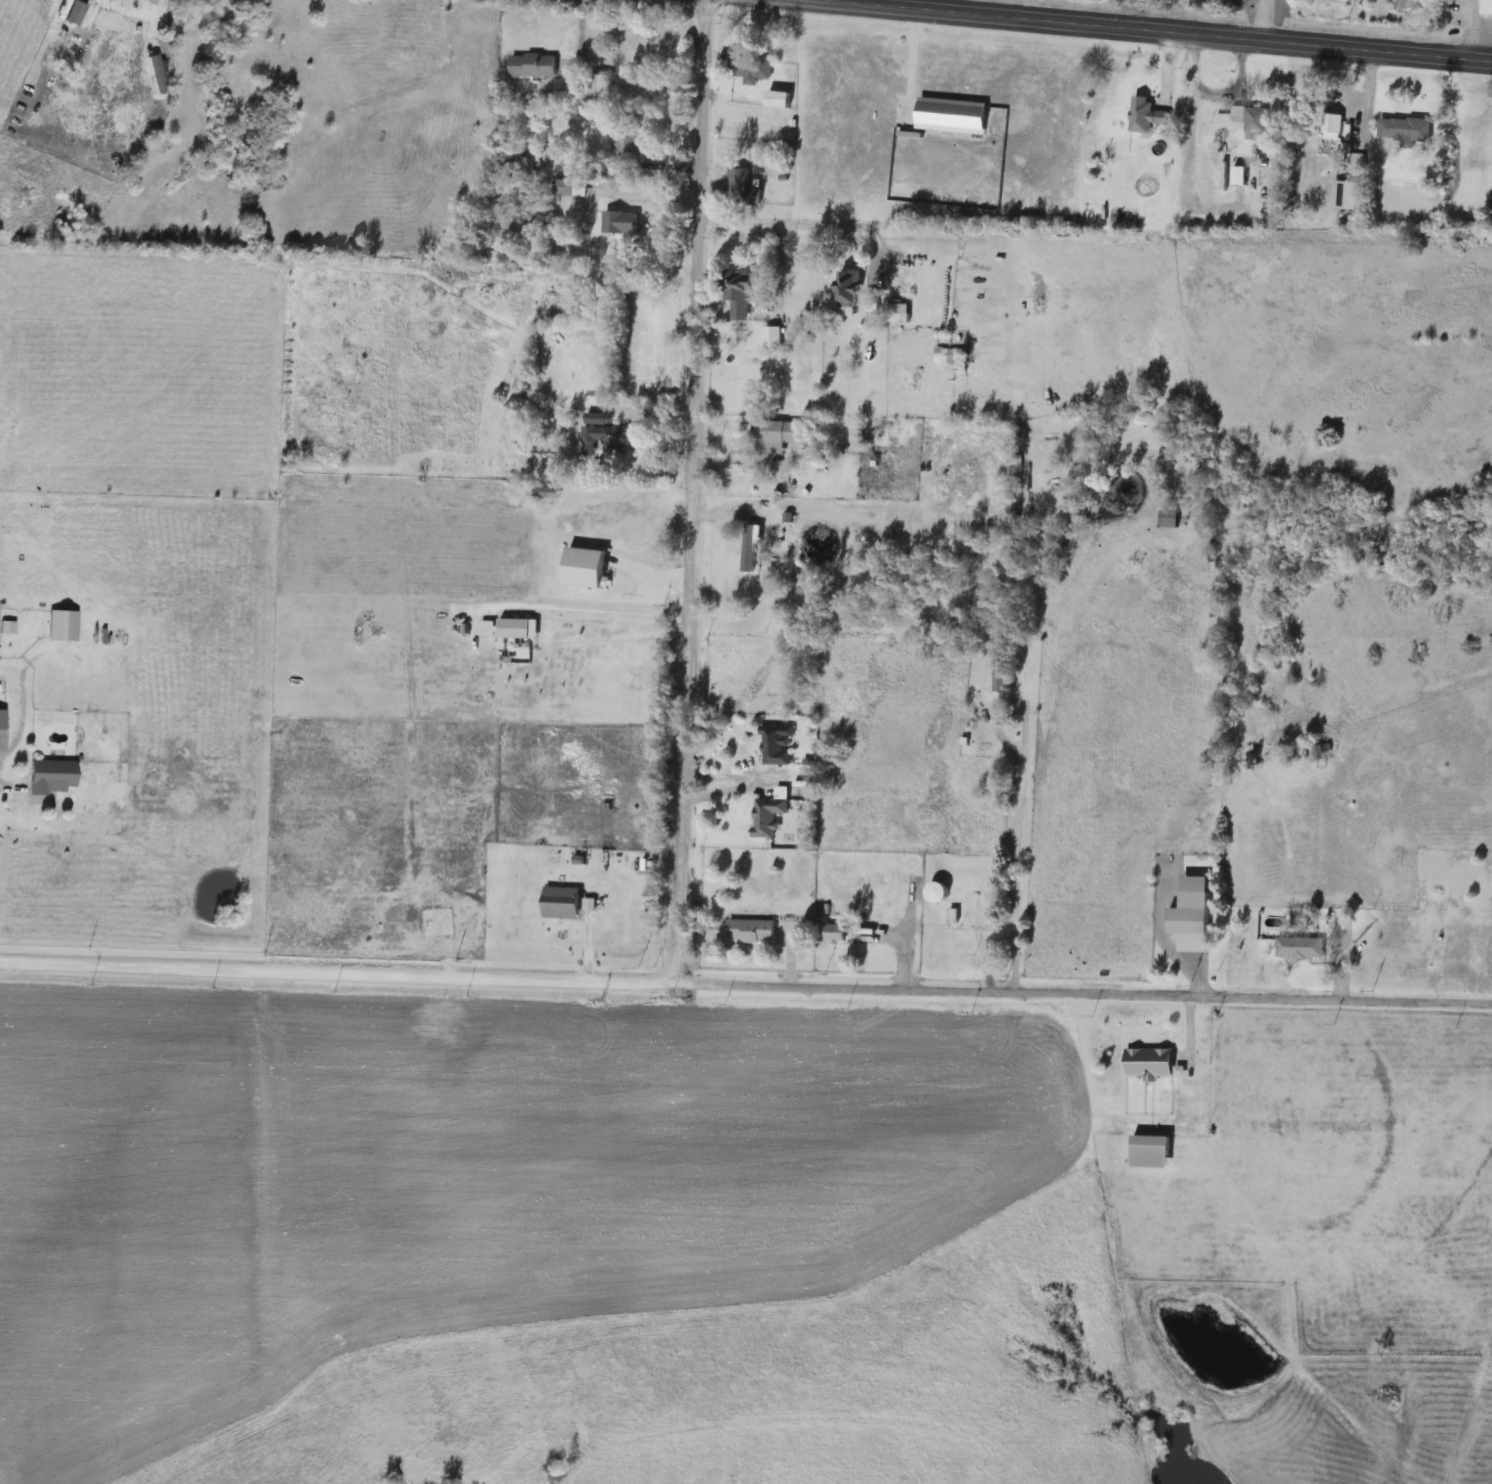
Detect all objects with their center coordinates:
building: (1485, 7)
building: (72, 14)
road: (1169, 29)
building: (530, 65)
building: (749, 71)
building: (596, 91)
building: (774, 99)
building: (1143, 115)
building: (1253, 123)
building: (1401, 129)
building: (1329, 132)
building: (622, 146)
building: (561, 188)
building: (739, 189)
building: (1343, 195)
road: (800, 222)
building: (618, 223)
building: (843, 288)
building: (735, 293)
building: (770, 338)
building: (940, 356)
building: (771, 436)
building: (607, 437)
building: (807, 458)
road: (693, 490)
building: (541, 495)
building: (782, 517)
building: (1165, 519)
building: (750, 529)
road: (595, 607)
building: (59, 626)
building: (515, 628)
building: (1, 719)
building: (772, 745)
building: (1313, 753)
building: (49, 776)
road: (6, 783)
road: (1023, 807)
building: (764, 816)
building: (933, 892)
building: (558, 903)
building: (1187, 922)
building: (748, 930)
building: (832, 934)
building: (1297, 948)
road: (37, 964)
road: (782, 985)
building: (1146, 1062)
building: (1146, 1153)

